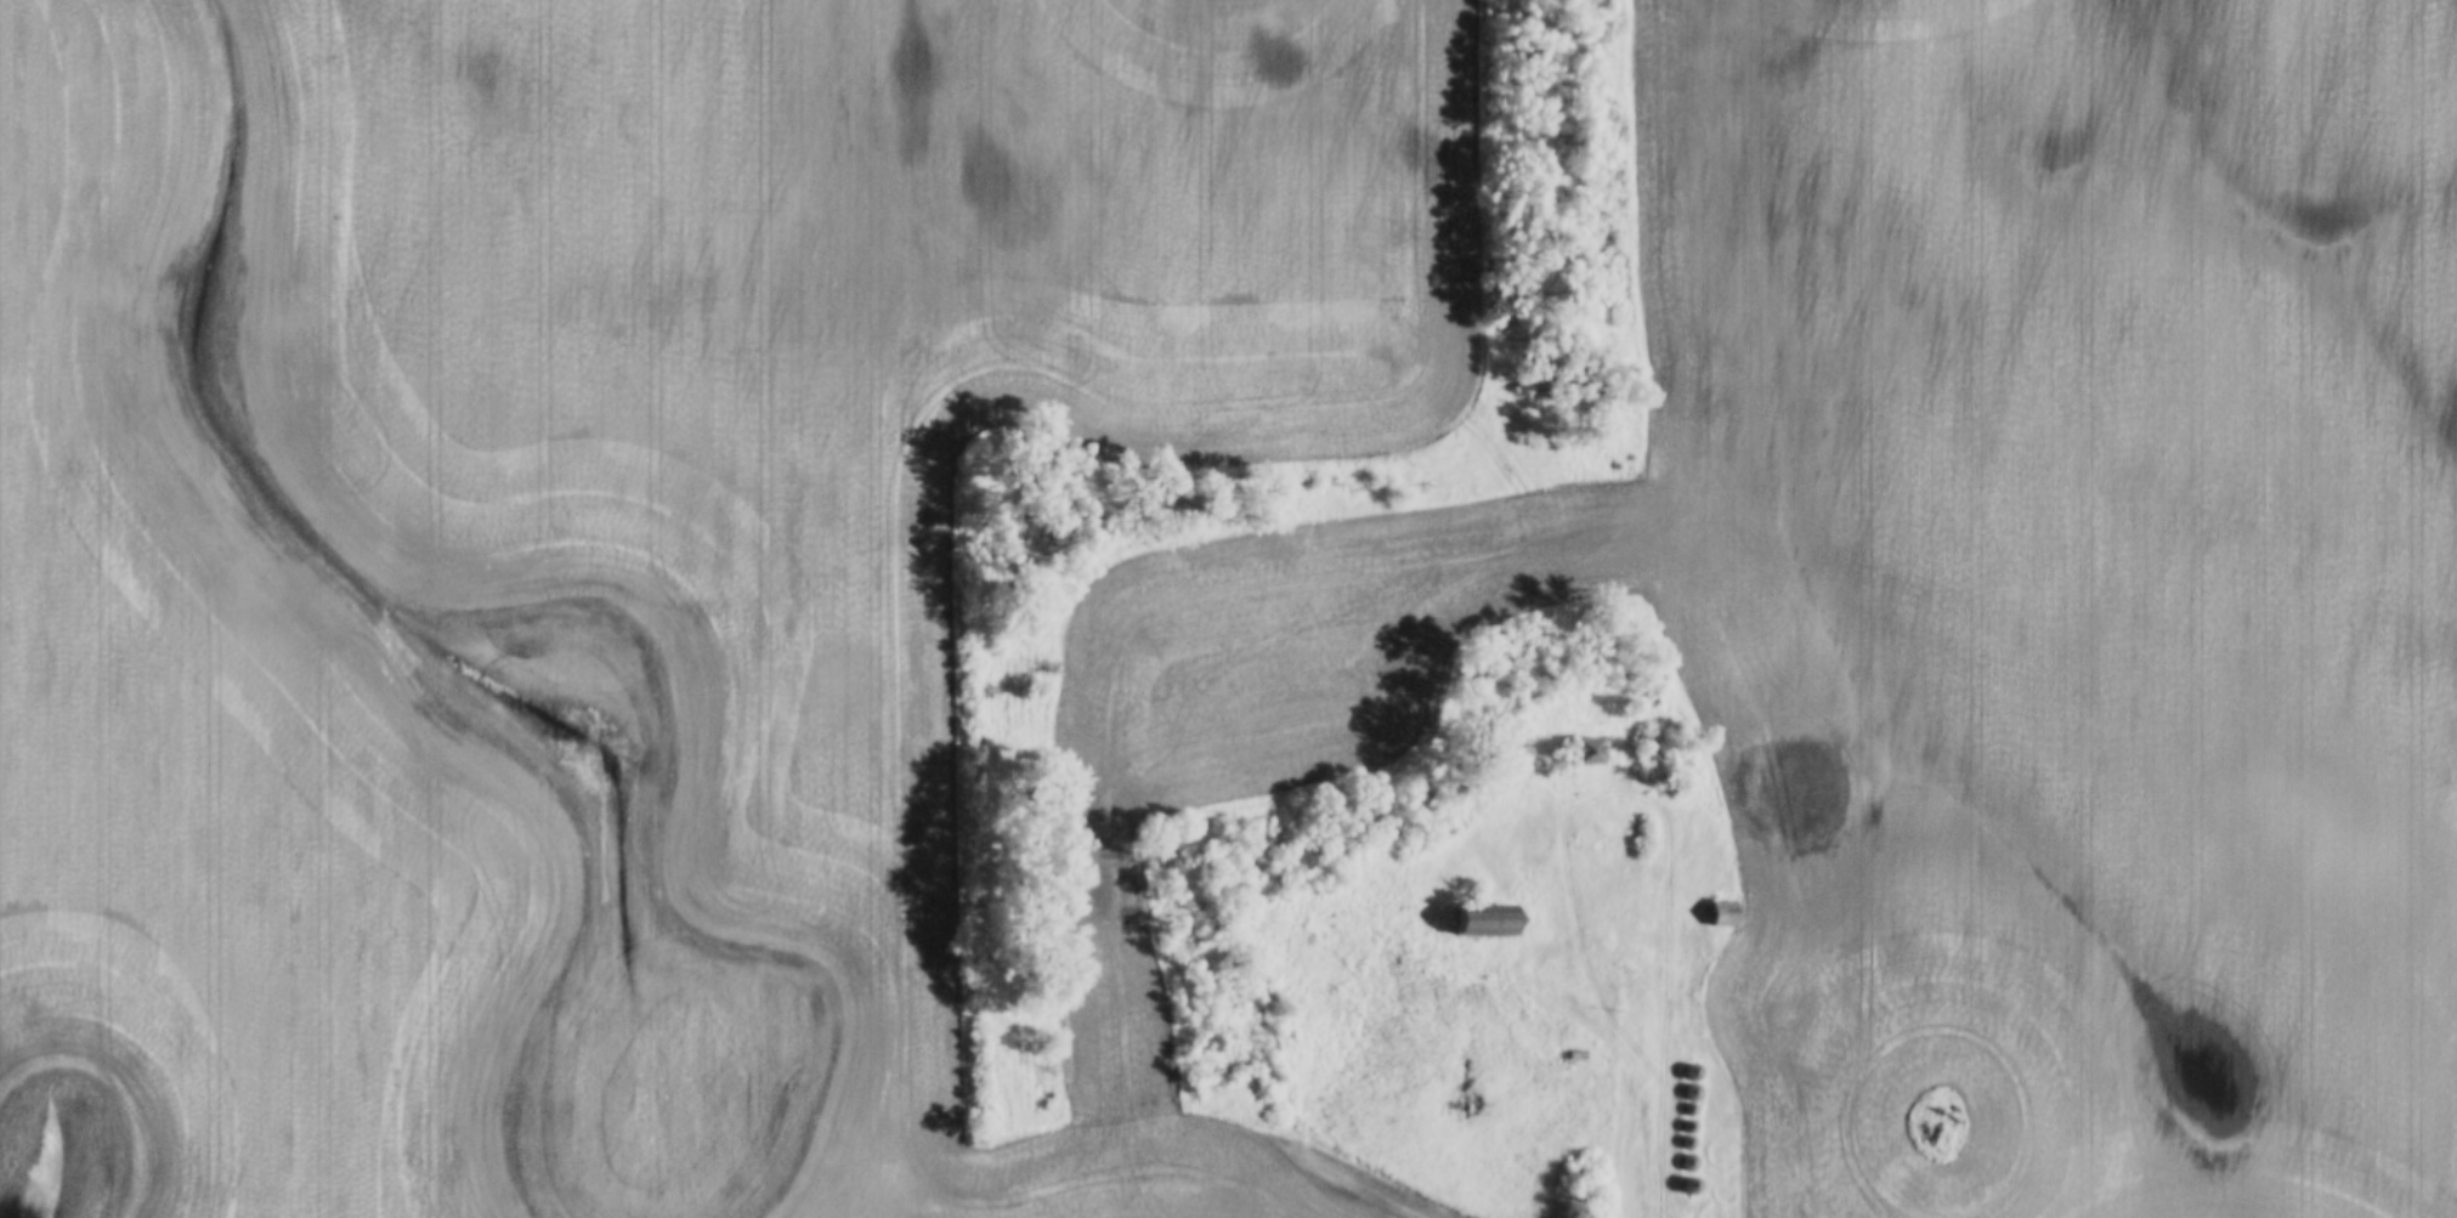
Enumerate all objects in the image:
road: (1031, 414)
building: (1586, 753)
building: (1721, 916)
building: (1484, 924)

